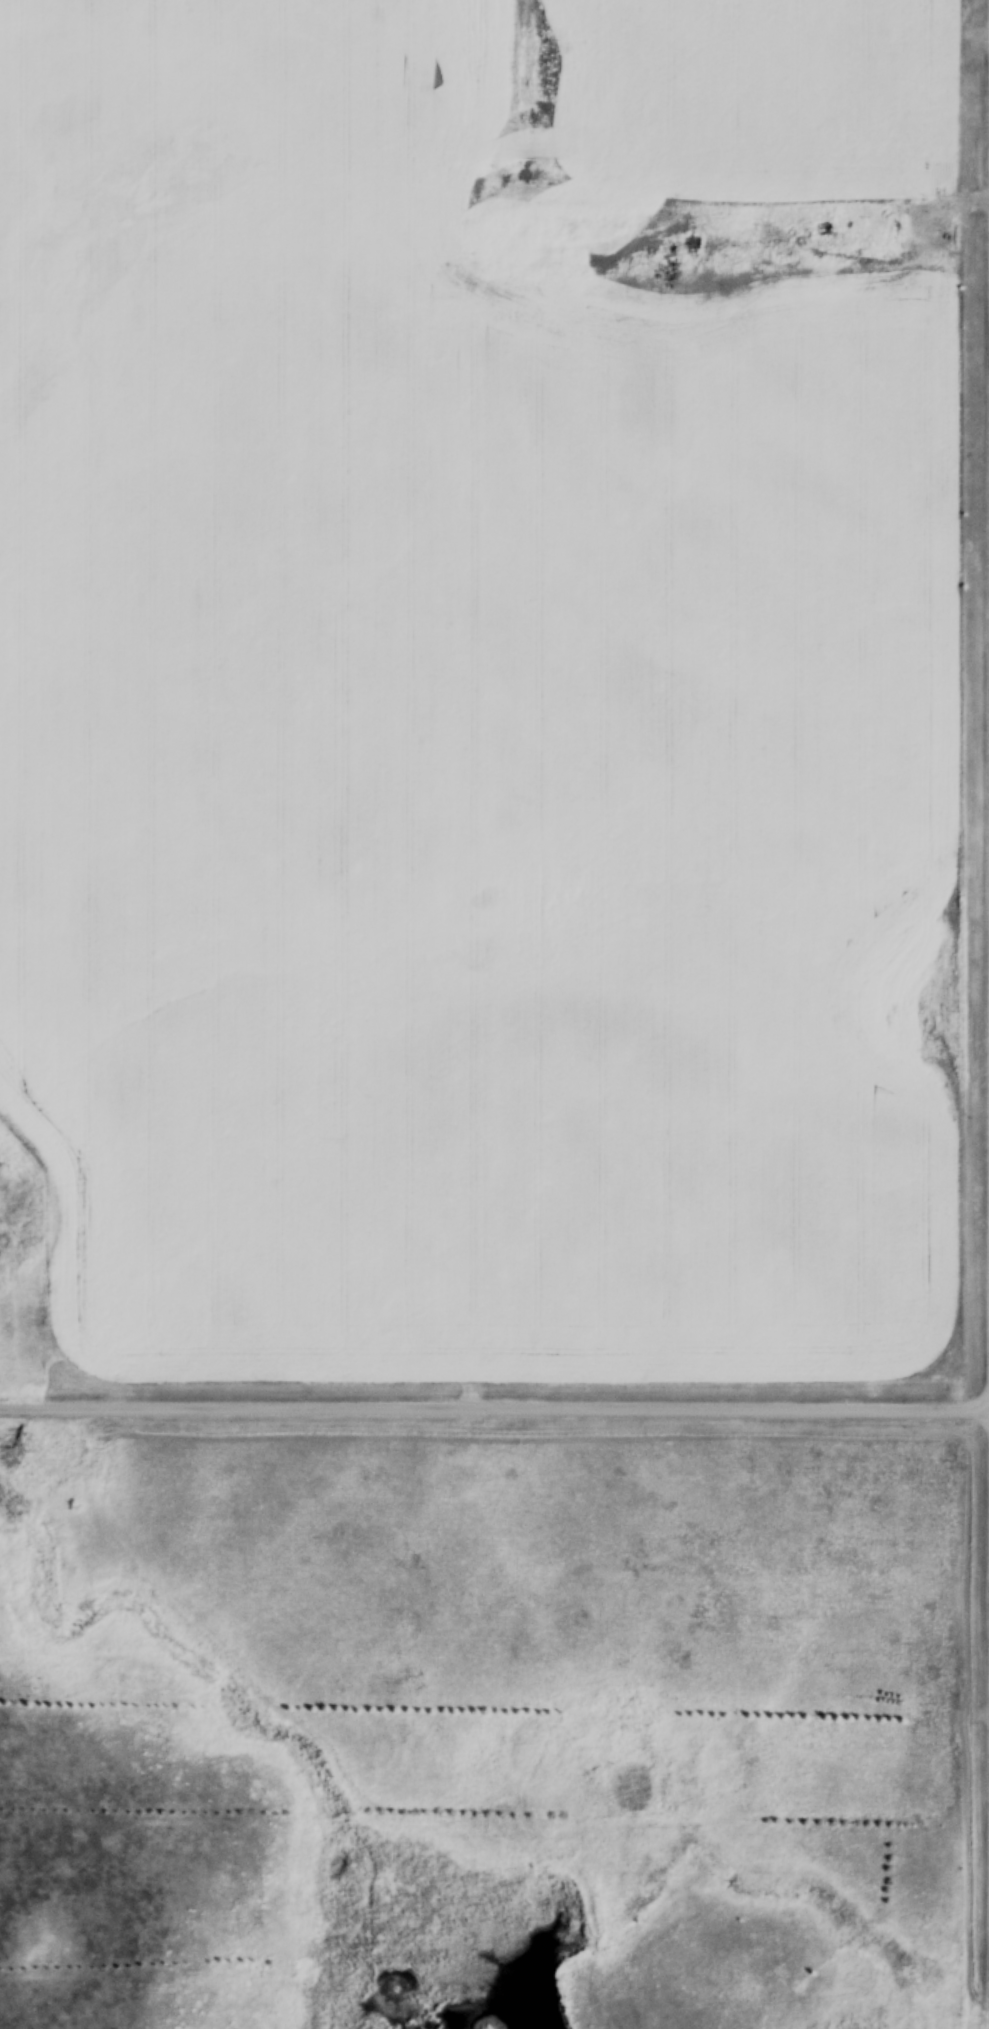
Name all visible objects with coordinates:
road: (494, 1402)
airport runway: (566, 1555)
river: (469, 1946)

